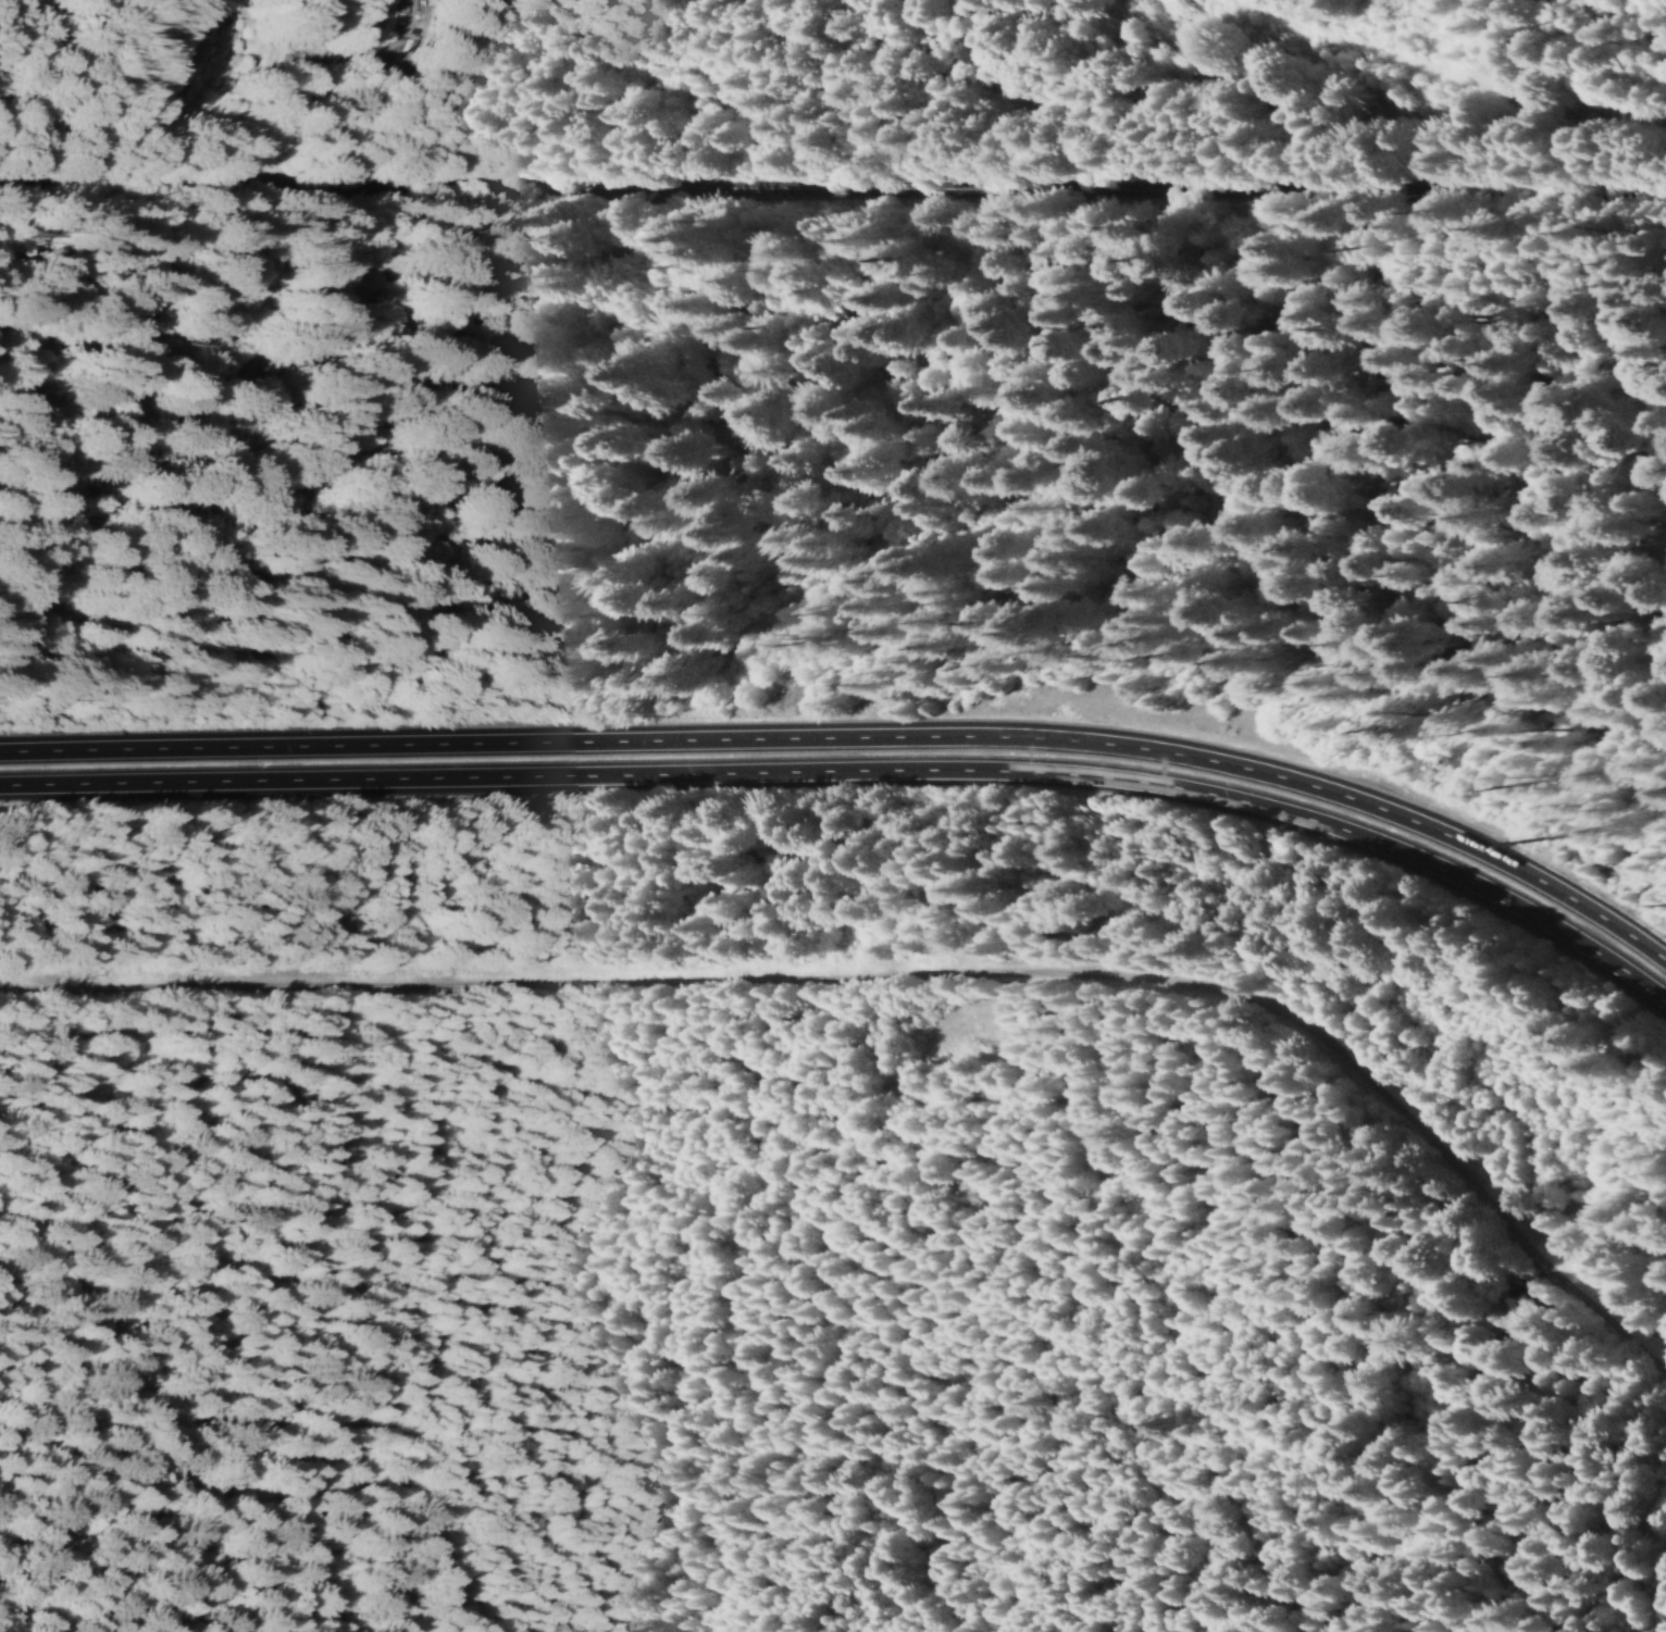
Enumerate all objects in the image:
road: (1328, 83)
road: (832, 198)
road: (857, 744)
road: (858, 778)
road: (906, 997)

